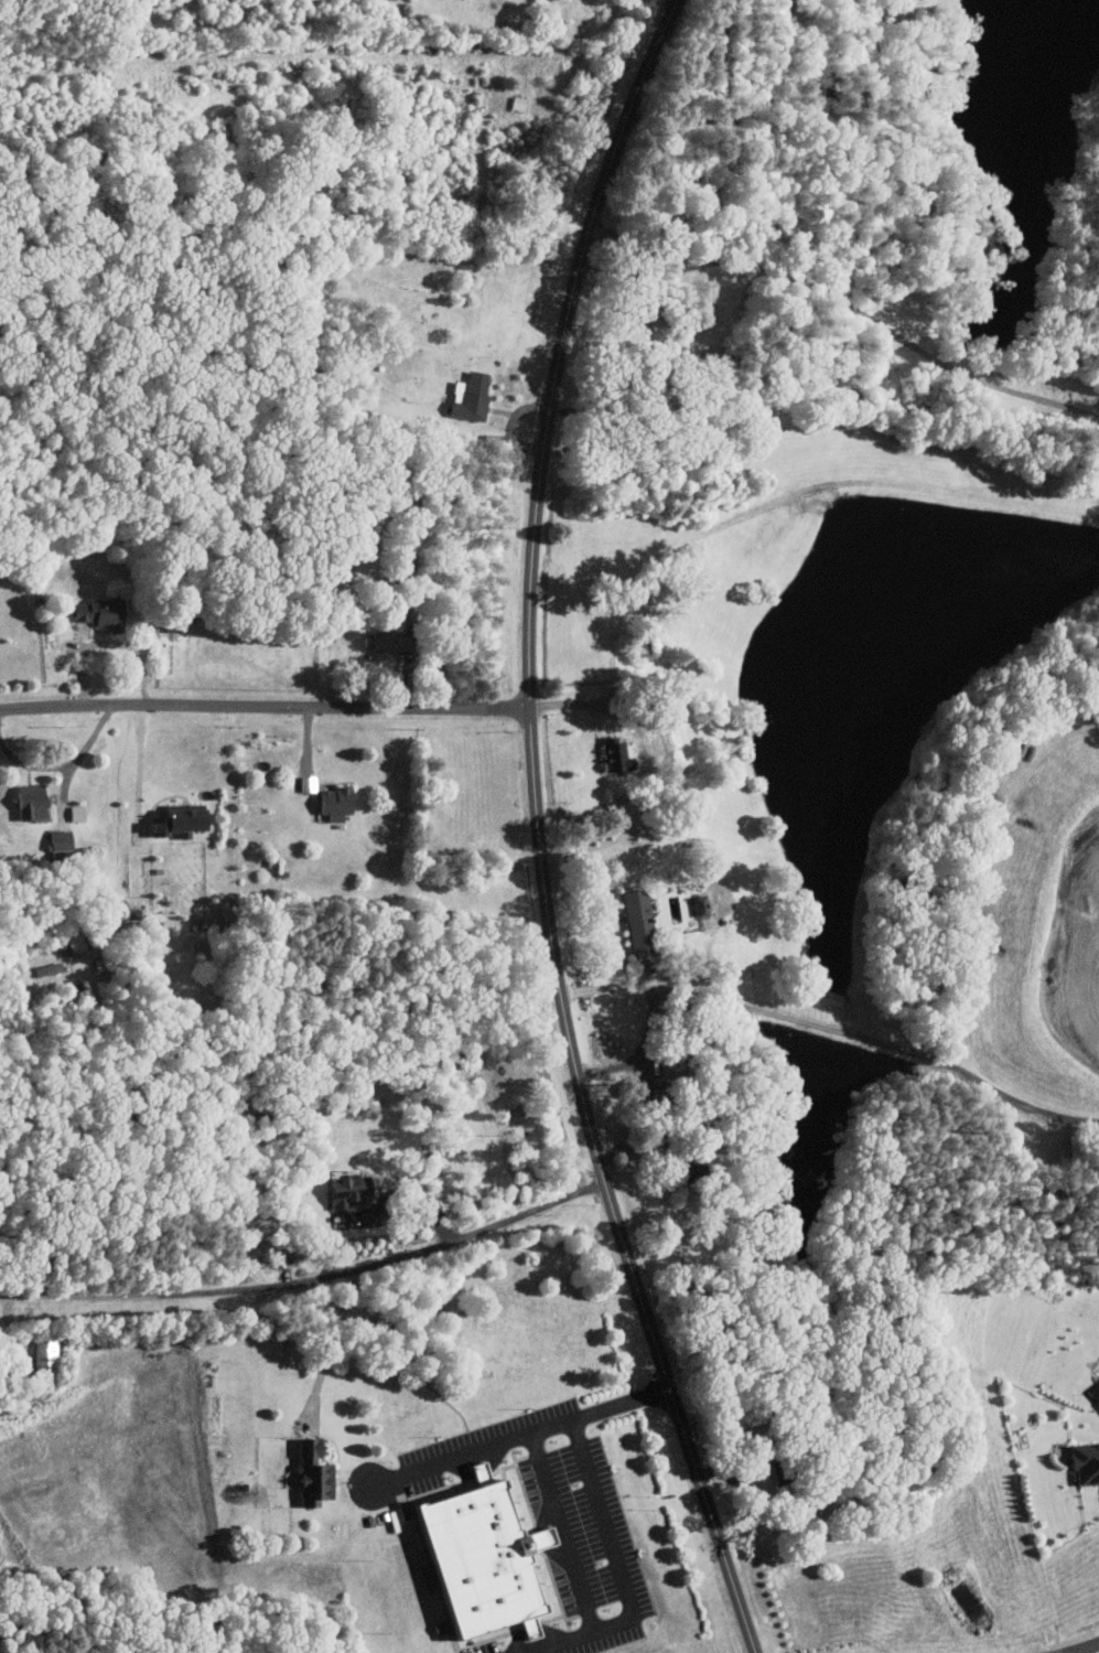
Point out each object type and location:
road: (675, 1)
road: (265, 55)
road: (531, 64)
road: (733, 69)
building: (520, 103)
park: (298, 141)
road: (849, 309)
building: (473, 396)
building: (100, 612)
road: (107, 642)
building: (388, 642)
road: (600, 700)
road: (263, 706)
building: (613, 753)
road: (62, 766)
road: (138, 768)
building: (34, 801)
building: (340, 803)
building: (161, 826)
road: (538, 829)
building: (229, 912)
building: (644, 922)
building: (74, 945)
building: (51, 969)
building: (352, 1190)
road: (310, 1277)
road: (333, 1340)
building: (1097, 1394)
road: (521, 1437)
building: (1088, 1463)
building: (317, 1473)
road: (562, 1532)
building: (491, 1558)
road: (621, 1573)
road: (1092, 1650)
road: (537, 1651)

